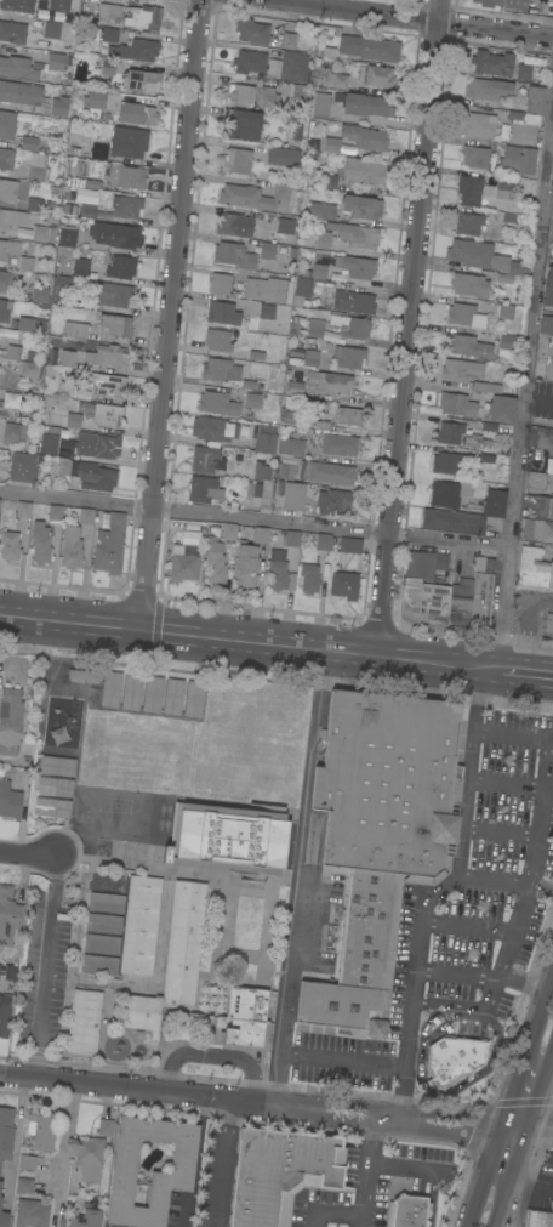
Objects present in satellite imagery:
building: (503, 2)
building: (59, 4)
building: (17, 5)
building: (109, 11)
building: (51, 15)
building: (143, 17)
road: (418, 17)
building: (53, 29)
building: (251, 30)
building: (12, 32)
building: (109, 34)
building: (369, 47)
building: (135, 50)
building: (292, 59)
building: (55, 61)
building: (249, 61)
building: (492, 62)
building: (17, 67)
building: (273, 67)
building: (107, 70)
building: (523, 72)
building: (378, 75)
building: (141, 80)
building: (335, 80)
building: (489, 89)
building: (298, 91)
building: (19, 92)
building: (239, 95)
building: (96, 98)
building: (268, 98)
building: (534, 98)
building: (59, 103)
building: (364, 103)
building: (320, 104)
building: (137, 113)
building: (6, 124)
building: (243, 124)
building: (479, 125)
building: (521, 126)
building: (365, 137)
building: (127, 141)
building: (28, 143)
building: (313, 143)
building: (330, 144)
building: (98, 150)
building: (283, 155)
building: (474, 155)
building: (6, 158)
building: (517, 159)
building: (236, 160)
road: (551, 165)
building: (38, 166)
building: (354, 172)
building: (127, 176)
building: (80, 181)
building: (504, 187)
building: (8, 189)
building: (469, 189)
building: (255, 197)
building: (34, 204)
building: (126, 206)
building: (361, 206)
building: (551, 206)
building: (87, 209)
building: (320, 209)
building: (7, 218)
building: (509, 218)
building: (467, 223)
building: (238, 225)
building: (285, 225)
building: (42, 233)
building: (355, 233)
building: (115, 234)
building: (67, 235)
building: (321, 239)
building: (8, 248)
building: (267, 250)
building: (233, 255)
building: (485, 259)
building: (25, 263)
building: (79, 266)
building: (119, 266)
building: (358, 266)
road: (212, 268)
building: (319, 271)
building: (336, 277)
building: (5, 280)
building: (220, 282)
building: (468, 284)
building: (548, 286)
building: (268, 289)
building: (302, 290)
building: (39, 294)
building: (112, 294)
building: (353, 301)
building: (260, 308)
building: (5, 309)
building: (503, 311)
building: (222, 312)
building: (464, 314)
road: (170, 316)
building: (25, 323)
building: (116, 324)
building: (546, 324)
building: (295, 325)
building: (353, 326)
building: (314, 328)
building: (75, 329)
road: (407, 329)
building: (331, 336)
building: (218, 340)
building: (507, 341)
building: (467, 346)
building: (548, 346)
building: (13, 352)
building: (106, 356)
building: (256, 356)
building: (348, 356)
building: (310, 358)
building: (65, 360)
building: (32, 369)
building: (547, 369)
building: (461, 370)
building: (233, 371)
building: (0, 373)
building: (102, 384)
building: (296, 384)
building: (327, 384)
building: (489, 387)
building: (65, 388)
road: (524, 398)
building: (253, 399)
building: (8, 401)
building: (217, 403)
building: (456, 404)
building: (501, 408)
building: (101, 413)
building: (348, 415)
building: (73, 420)
building: (212, 427)
building: (551, 431)
building: (13, 432)
building: (449, 432)
building: (336, 442)
building: (264, 443)
building: (49, 444)
building: (97, 444)
building: (290, 445)
building: (477, 458)
building: (206, 459)
building: (445, 461)
building: (21, 466)
building: (261, 471)
building: (286, 471)
building: (326, 471)
building: (95, 476)
building: (540, 481)
building: (204, 489)
building: (253, 489)
building: (449, 492)
building: (293, 495)
building: (333, 501)
building: (545, 507)
building: (23, 509)
building: (55, 512)
building: (82, 513)
building: (467, 516)
road: (253, 519)
building: (535, 529)
building: (228, 530)
building: (256, 534)
building: (290, 538)
building: (323, 541)
building: (40, 543)
building: (349, 544)
building: (8, 545)
building: (109, 545)
building: (70, 547)
building: (213, 561)
building: (184, 562)
building: (246, 563)
building: (534, 568)
building: (279, 569)
building: (309, 578)
building: (343, 584)
building: (423, 590)
building: (481, 595)
building: (460, 603)
building: (548, 623)
road: (524, 626)
road: (275, 647)
building: (85, 674)
building: (110, 688)
building: (131, 691)
building: (152, 693)
building: (172, 695)
building: (193, 698)
building: (10, 720)
building: (56, 765)
road: (506, 783)
building: (53, 785)
building: (10, 800)
building: (52, 807)
road: (501, 831)
building: (228, 836)
building: (380, 837)
road: (298, 853)
road: (30, 856)
road: (530, 875)
parking lot: (489, 880)
building: (108, 881)
road: (507, 881)
road: (437, 890)
building: (106, 902)
building: (8, 916)
building: (103, 922)
building: (139, 925)
road: (466, 925)
building: (32, 927)
building: (101, 943)
building: (173, 960)
building: (99, 964)
road: (47, 966)
building: (10, 972)
road: (456, 973)
road: (524, 976)
road: (541, 1004)
building: (5, 1015)
building: (245, 1016)
building: (84, 1021)
road: (211, 1055)
road: (320, 1058)
parking lot: (348, 1058)
building: (454, 1058)
road: (515, 1083)
road: (538, 1083)
road: (275, 1102)
road: (21, 1123)
building: (104, 1126)
building: (42, 1129)
building: (6, 1132)
road: (64, 1138)
road: (514, 1154)
building: (89, 1158)
road: (222, 1160)
building: (27, 1161)
road: (364, 1169)
road: (404, 1170)
building: (124, 1171)
building: (280, 1172)
road: (485, 1176)
building: (0, 1183)
parking lot: (372, 1183)
building: (24, 1185)
building: (0, 1202)
road: (498, 1206)
building: (407, 1211)
building: (30, 1212)
road: (329, 1214)
building: (537, 1217)
building: (4, 1219)
building: (85, 1219)

